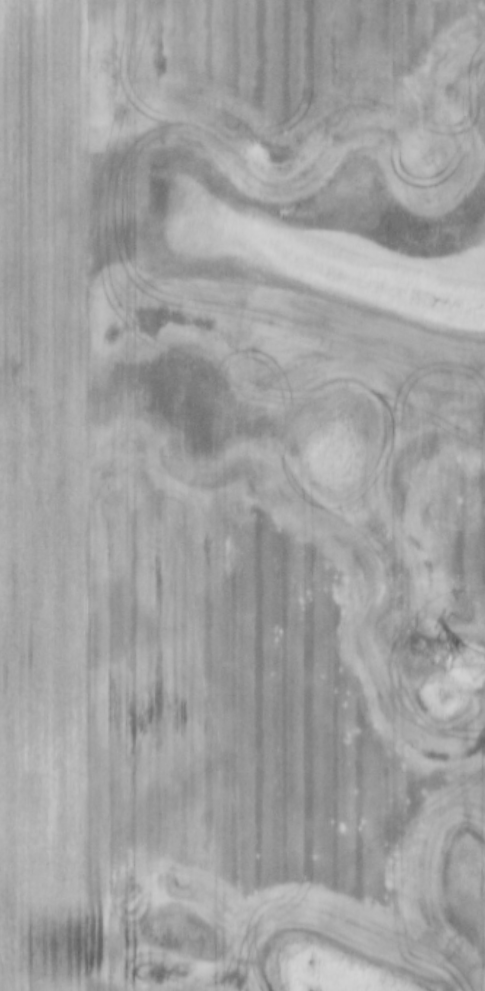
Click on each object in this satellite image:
power tower: (470, 654)

